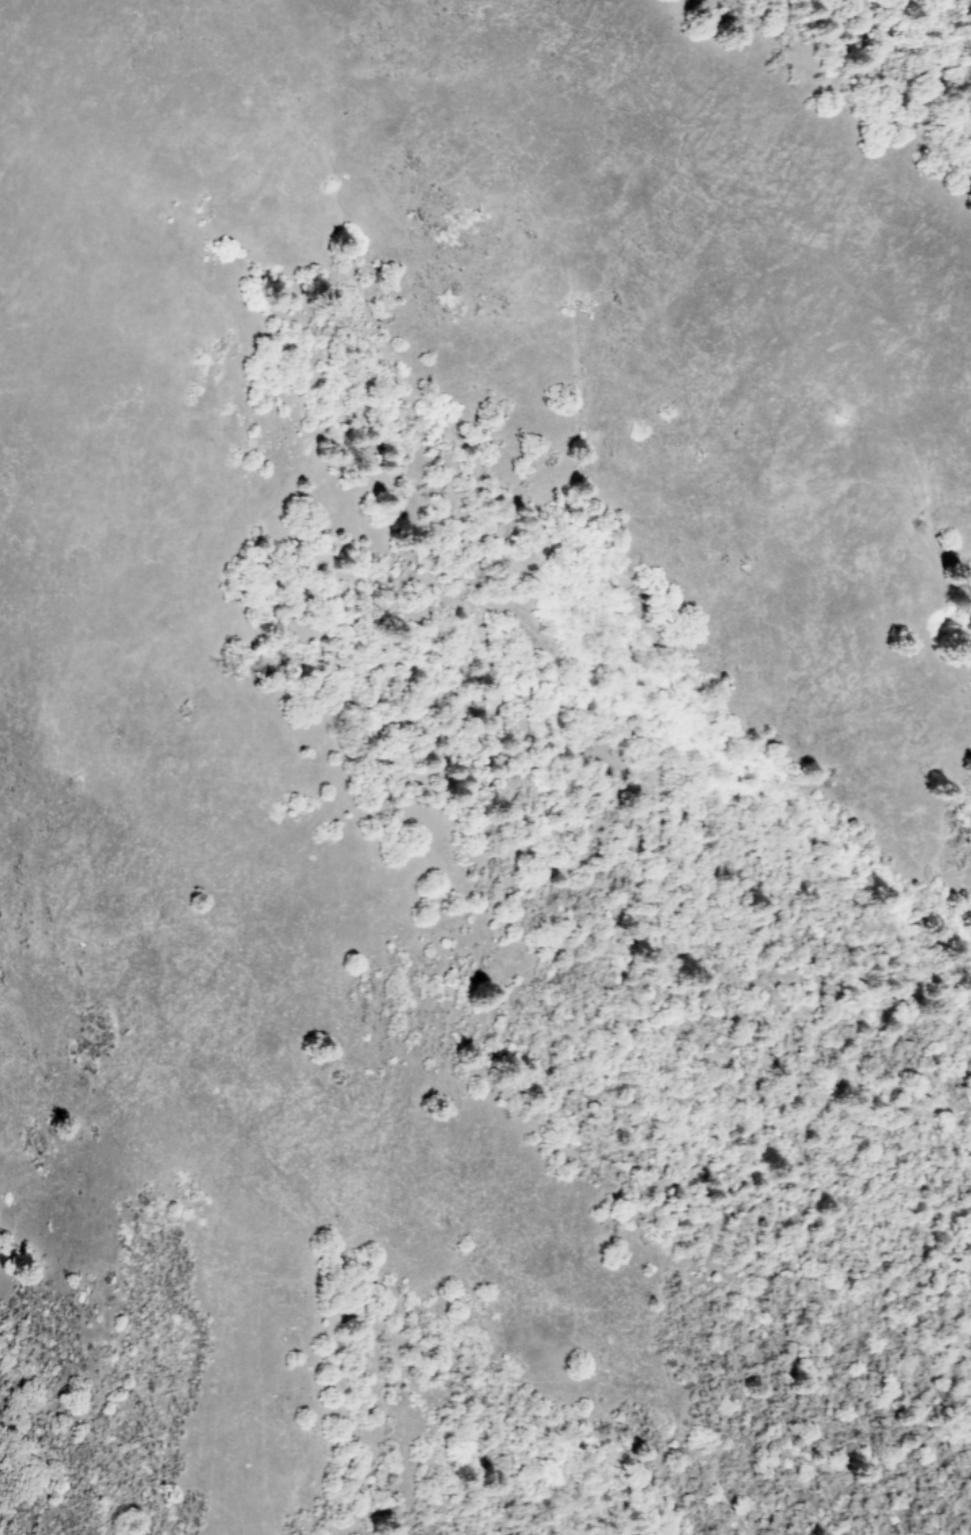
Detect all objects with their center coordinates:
road: (78, 1269)

